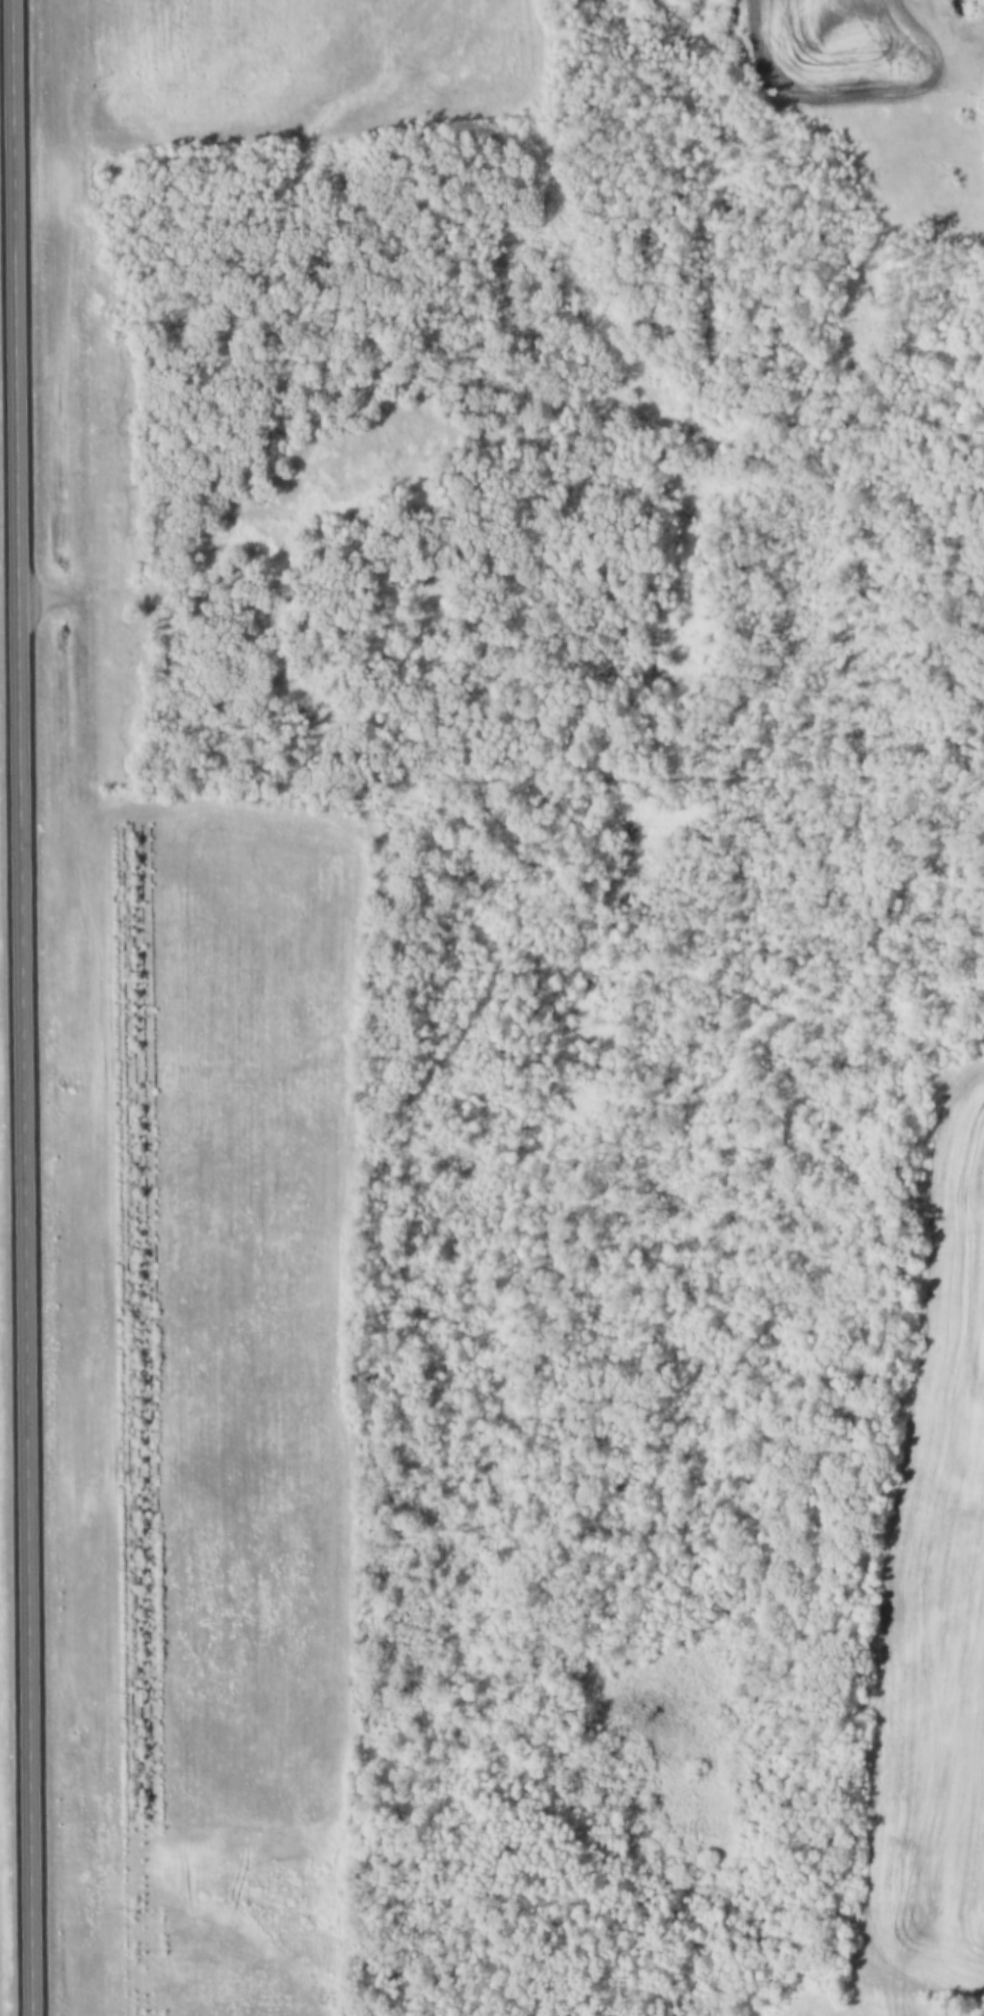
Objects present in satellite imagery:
road: (19, 1007)

